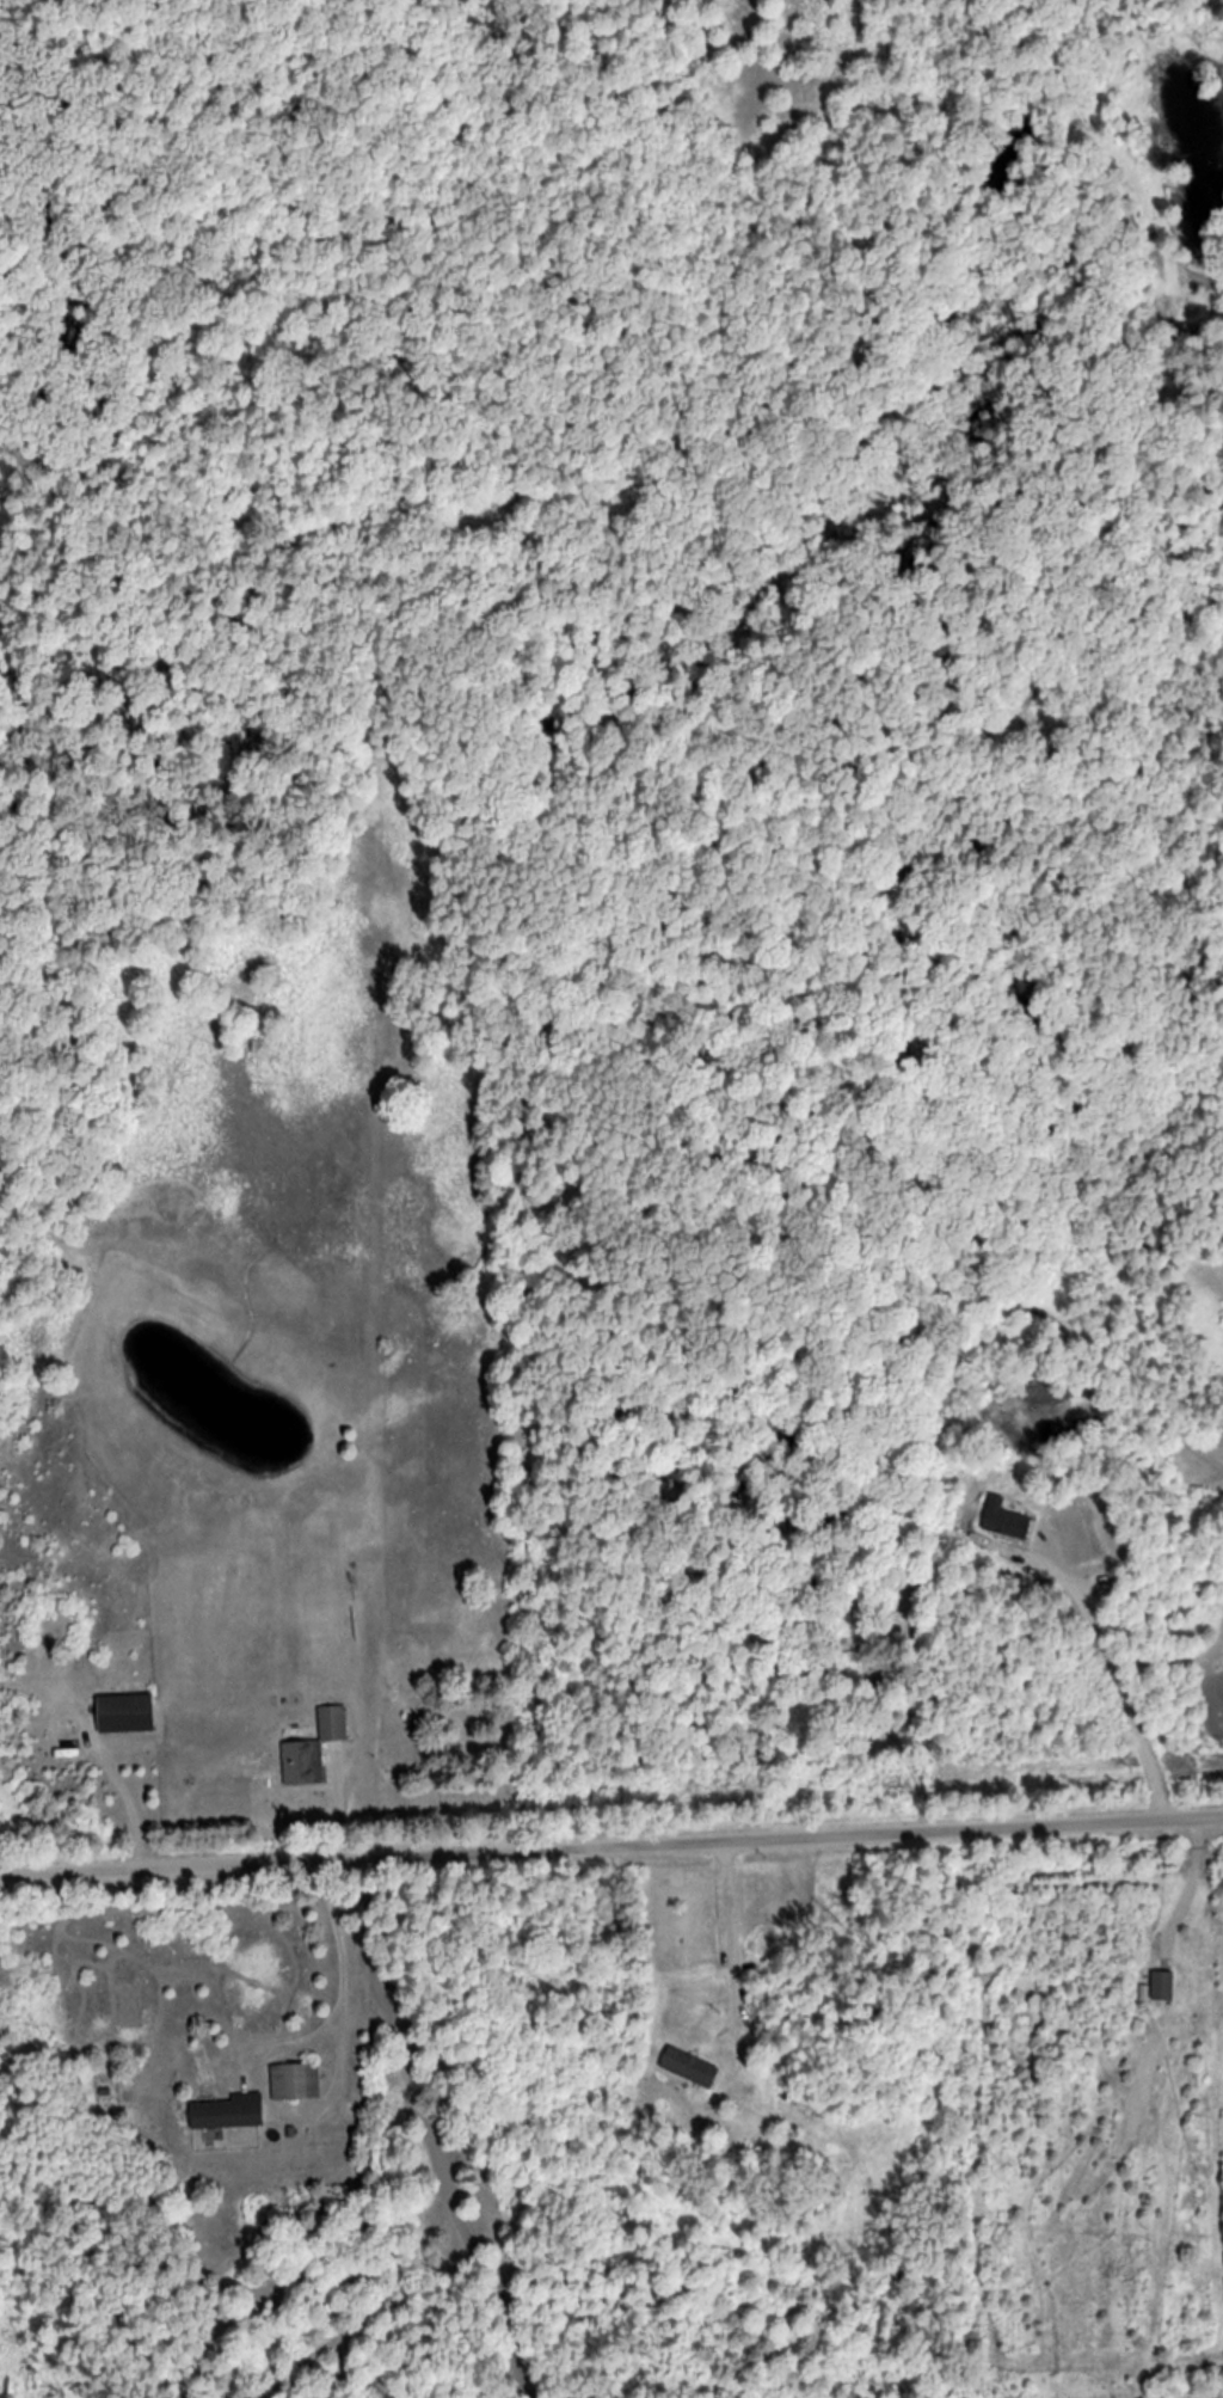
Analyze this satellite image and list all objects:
building: (125, 1715)
building: (314, 1749)
road: (611, 1845)
building: (1163, 1986)
building: (689, 2068)
building: (296, 2080)
building: (228, 2111)

